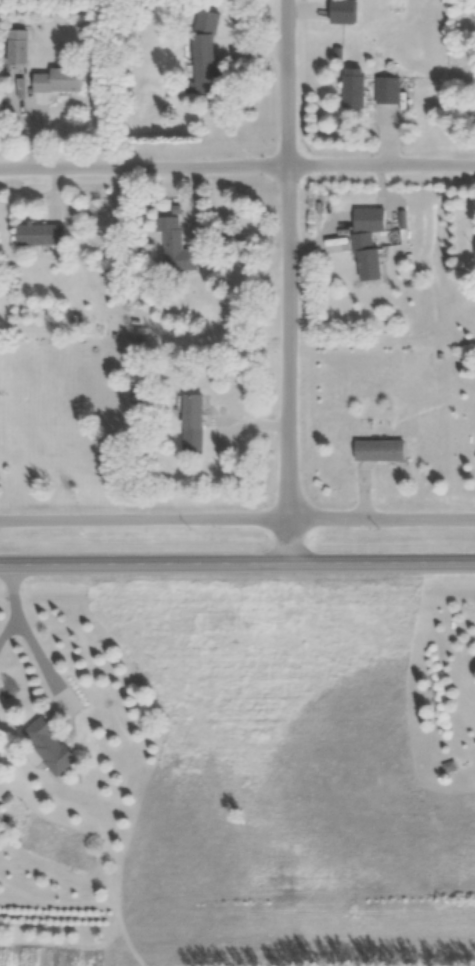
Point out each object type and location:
building: (344, 12)
building: (18, 48)
building: (204, 67)
building: (60, 81)
building: (356, 88)
building: (389, 91)
road: (237, 166)
building: (41, 235)
building: (176, 246)
building: (369, 257)
road: (291, 259)
building: (194, 412)
building: (381, 451)
road: (237, 519)
road: (237, 565)
road: (29, 641)
building: (51, 747)

